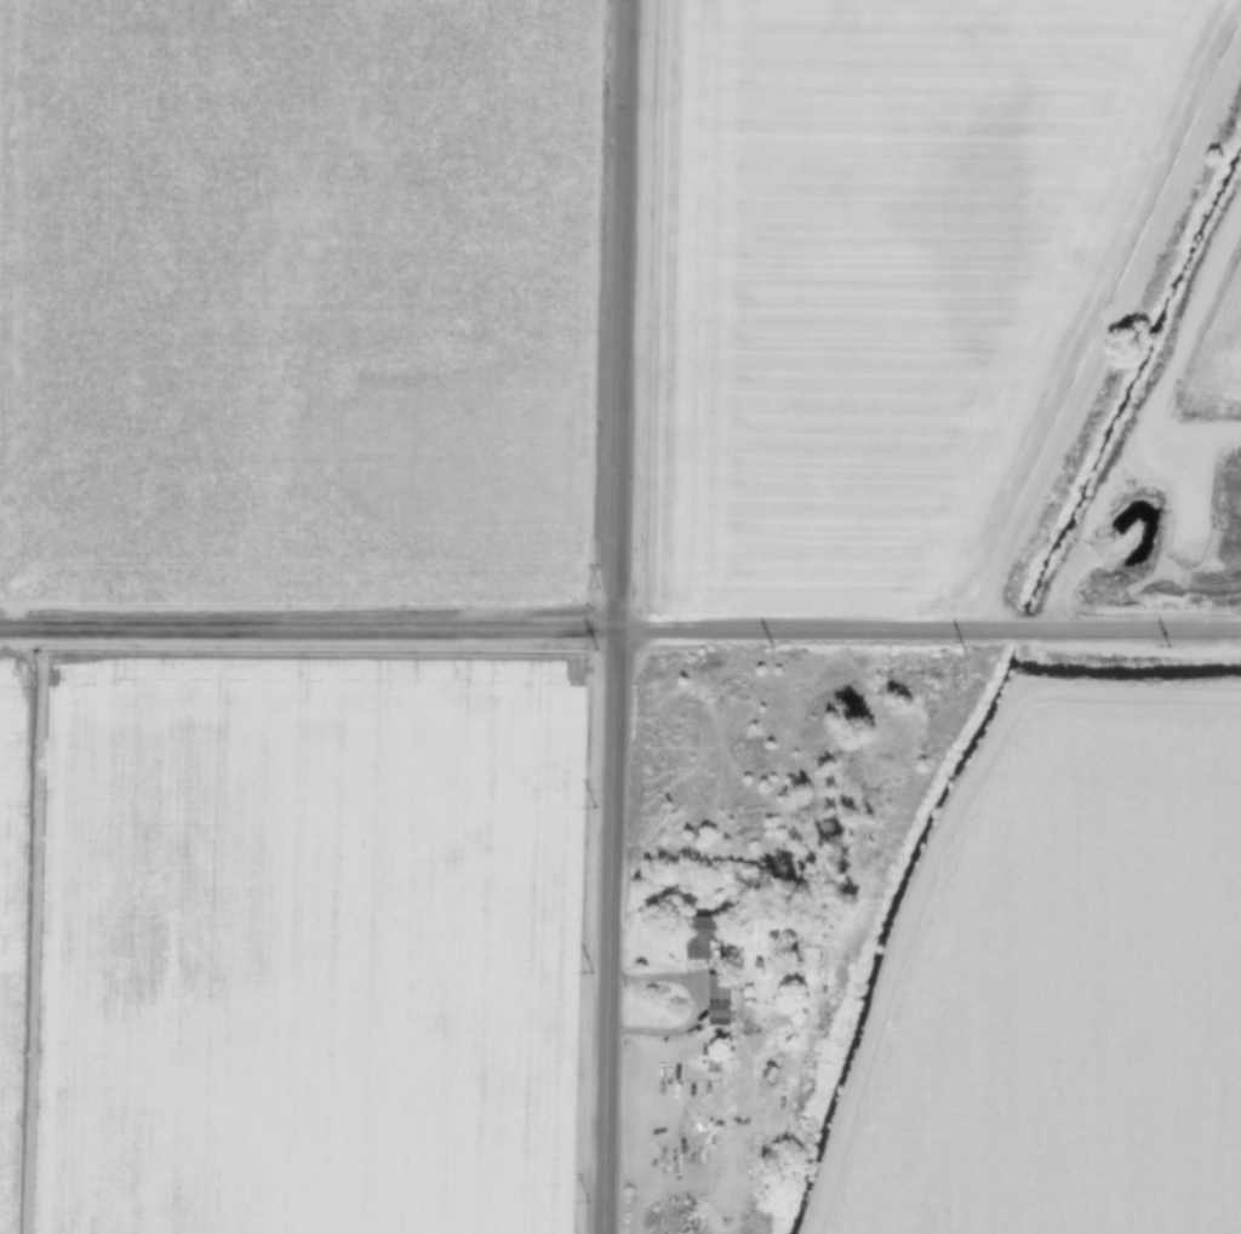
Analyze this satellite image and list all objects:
road: (620, 316)
road: (1103, 329)
road: (1143, 410)
road: (1188, 430)
road: (1236, 627)
road: (930, 629)
road: (308, 630)
road: (936, 852)
building: (693, 927)
road: (33, 932)
road: (611, 933)
building: (715, 982)
road: (693, 1006)
building: (713, 1006)
building: (710, 1063)
building: (766, 1070)

